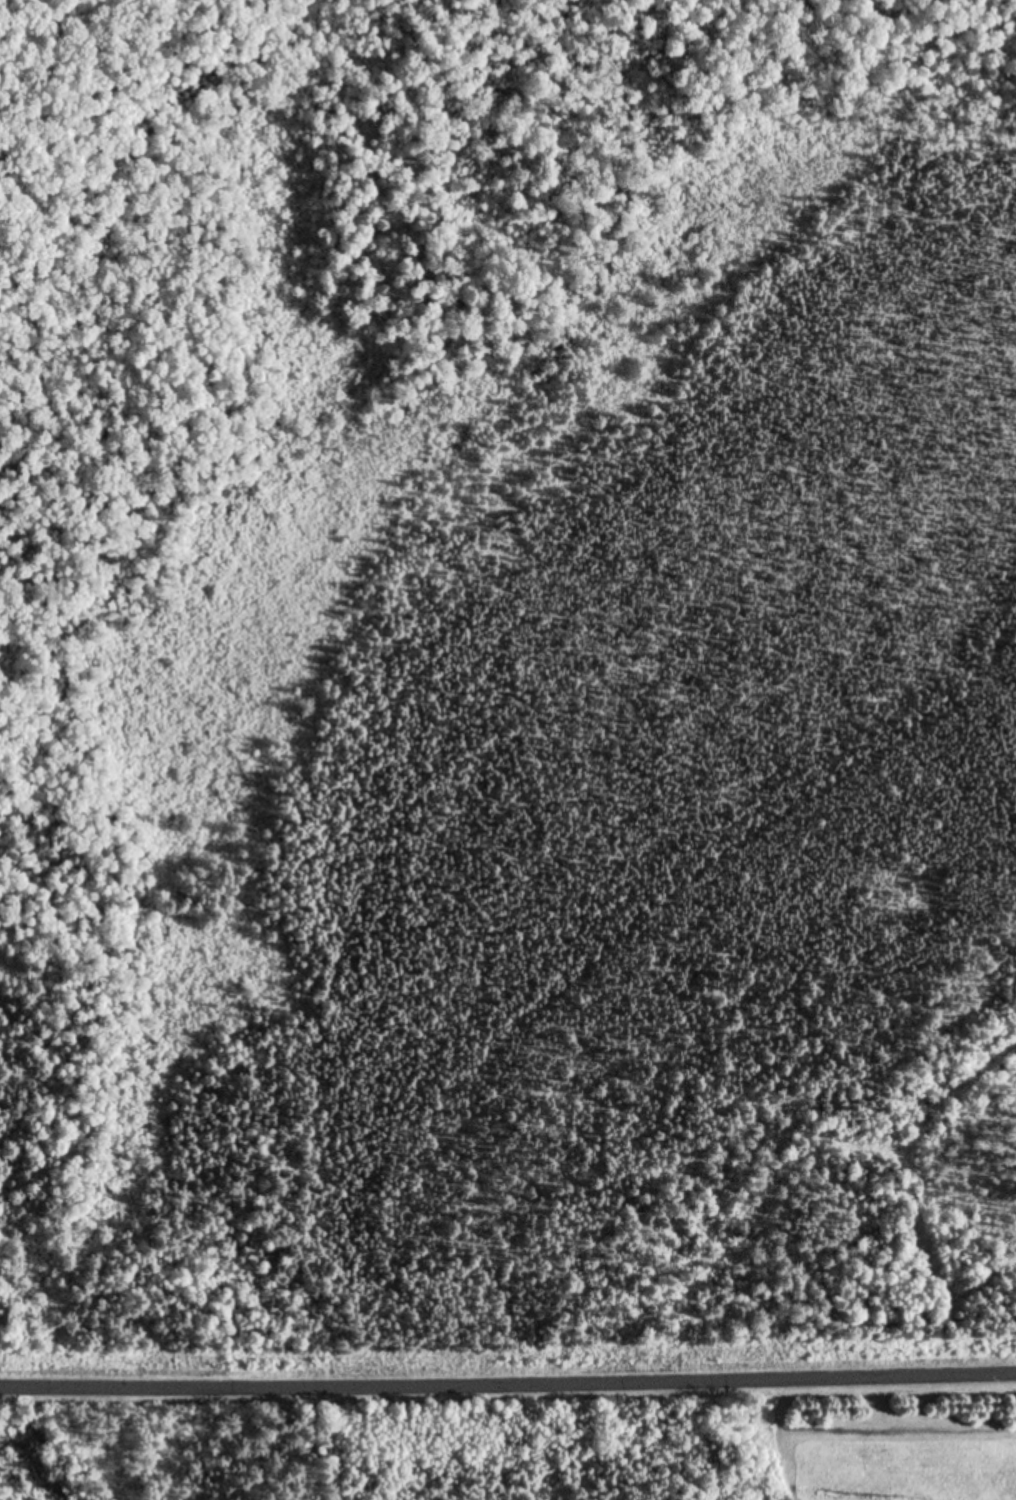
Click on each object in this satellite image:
road: (508, 1374)

